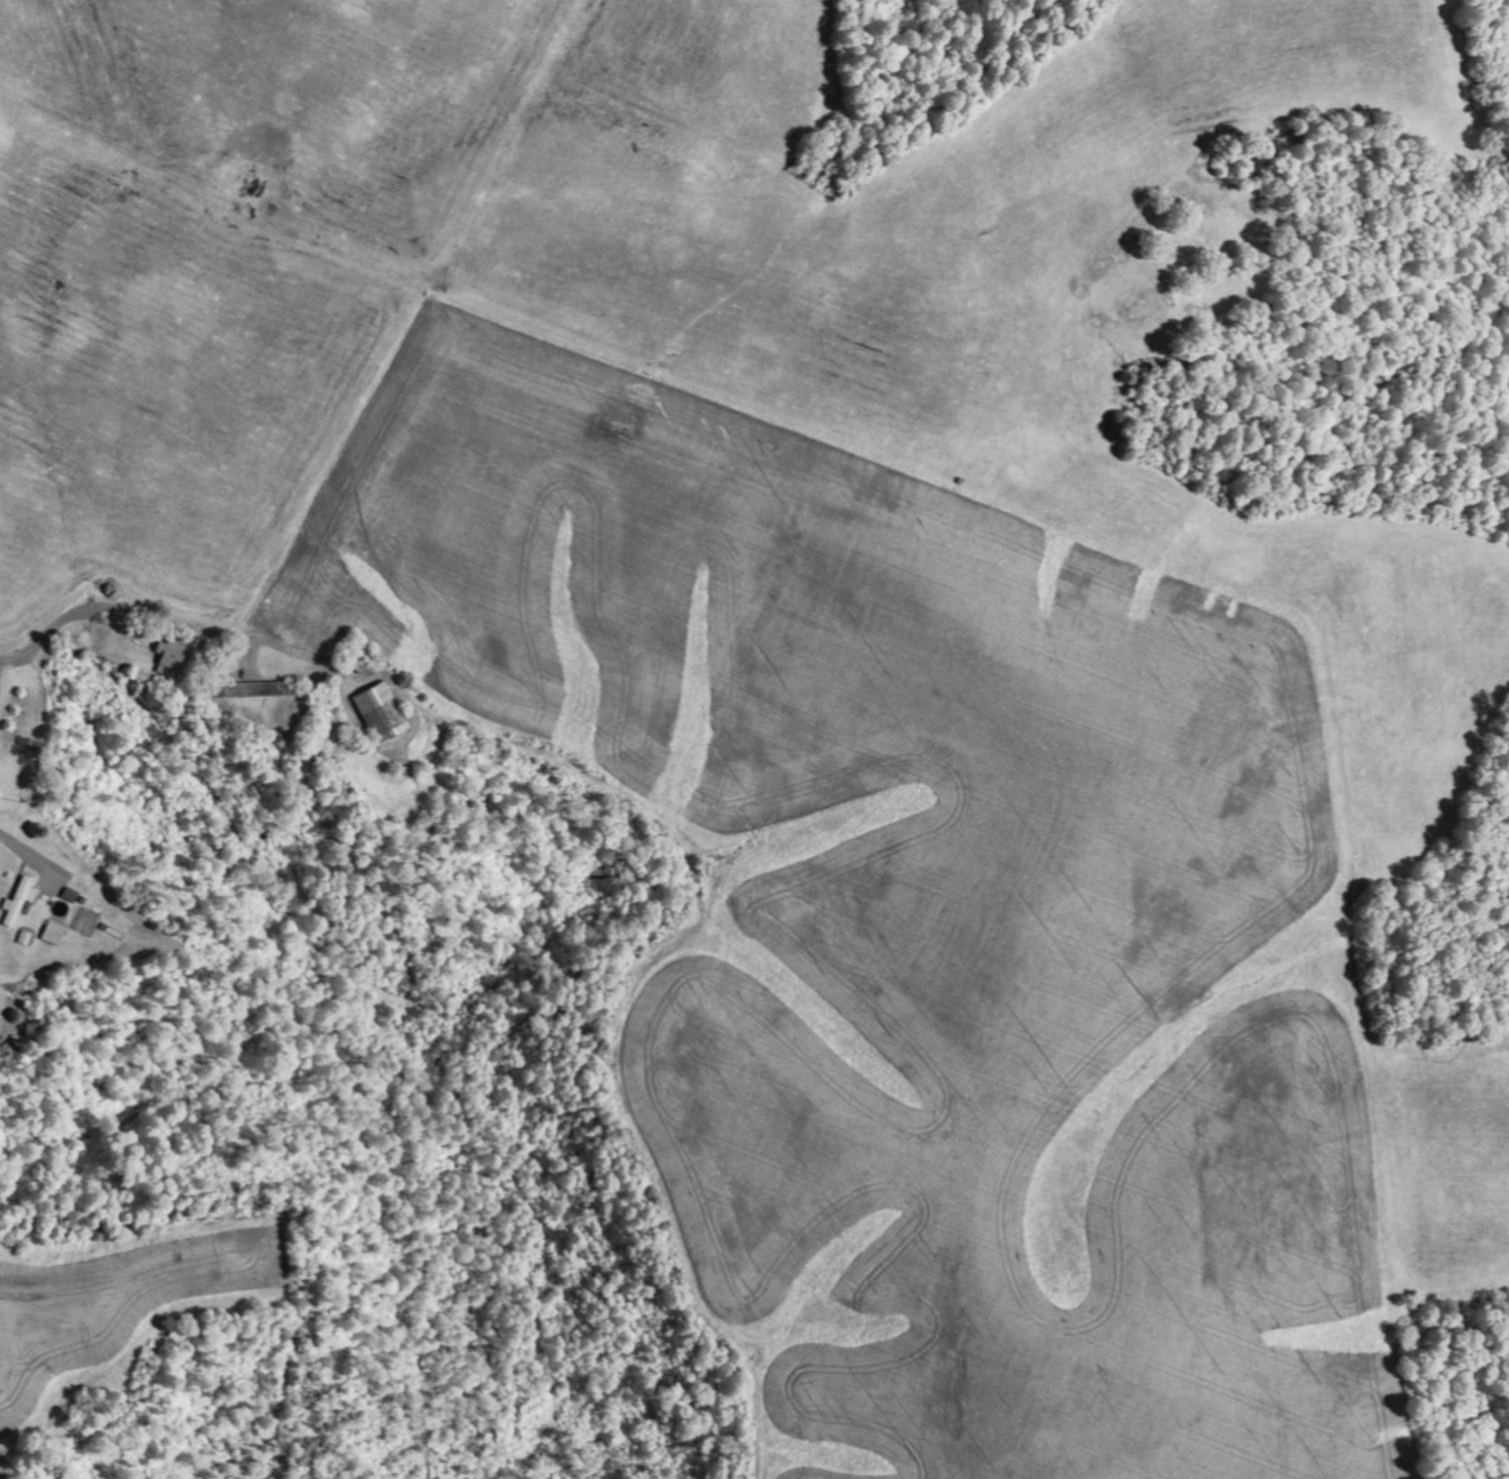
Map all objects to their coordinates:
road: (41, 572)
building: (171, 657)
building: (258, 688)
building: (381, 710)
building: (67, 894)
building: (18, 900)
road: (128, 926)
building: (52, 932)
building: (24, 937)

